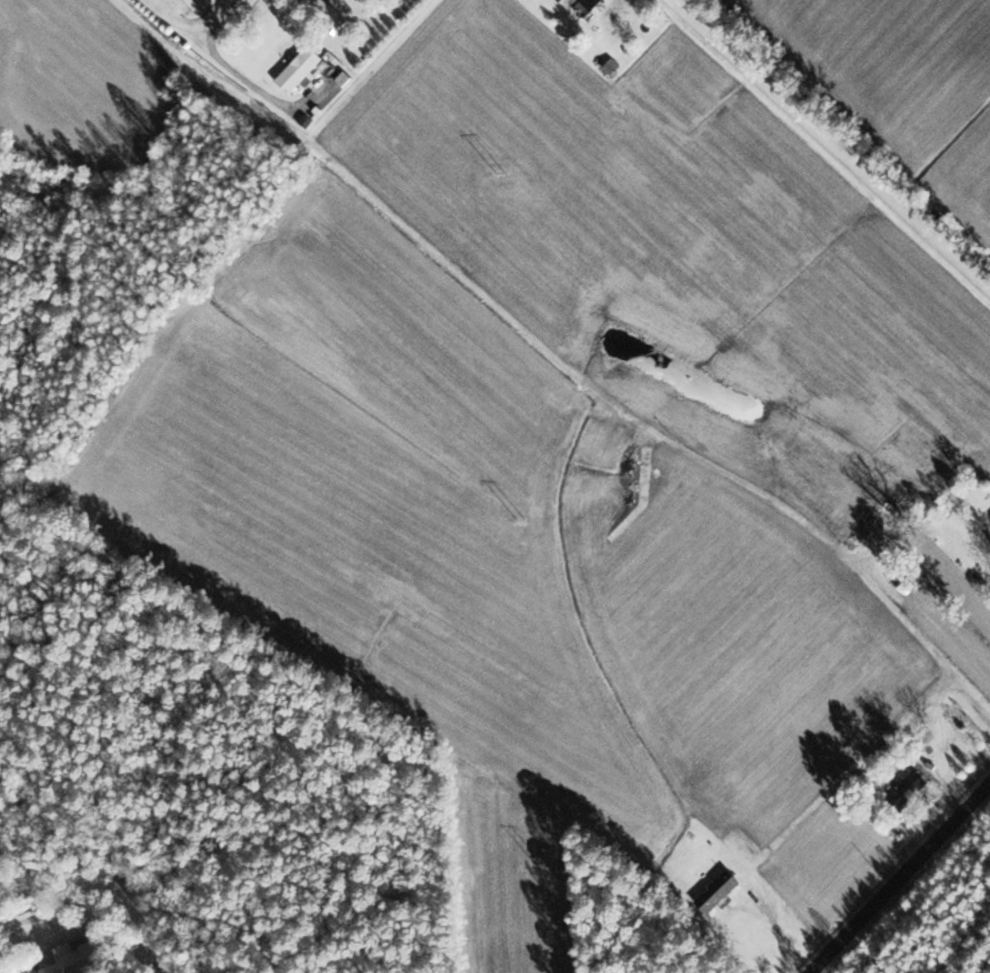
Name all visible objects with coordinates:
building: (594, 2)
road: (177, 15)
road: (223, 16)
building: (303, 69)
road: (242, 74)
road: (830, 144)
power tower: (503, 173)
power tower: (526, 519)
building: (867, 534)
building: (909, 580)
building: (913, 786)
power tower: (543, 862)
road: (902, 880)
building: (723, 890)
building: (84, 958)

